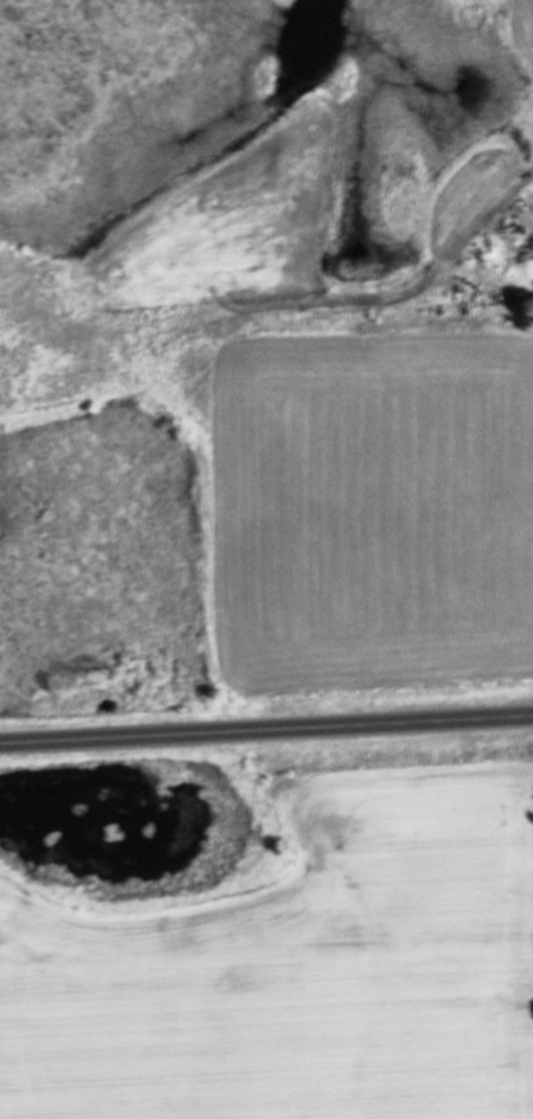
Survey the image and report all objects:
road: (266, 733)

